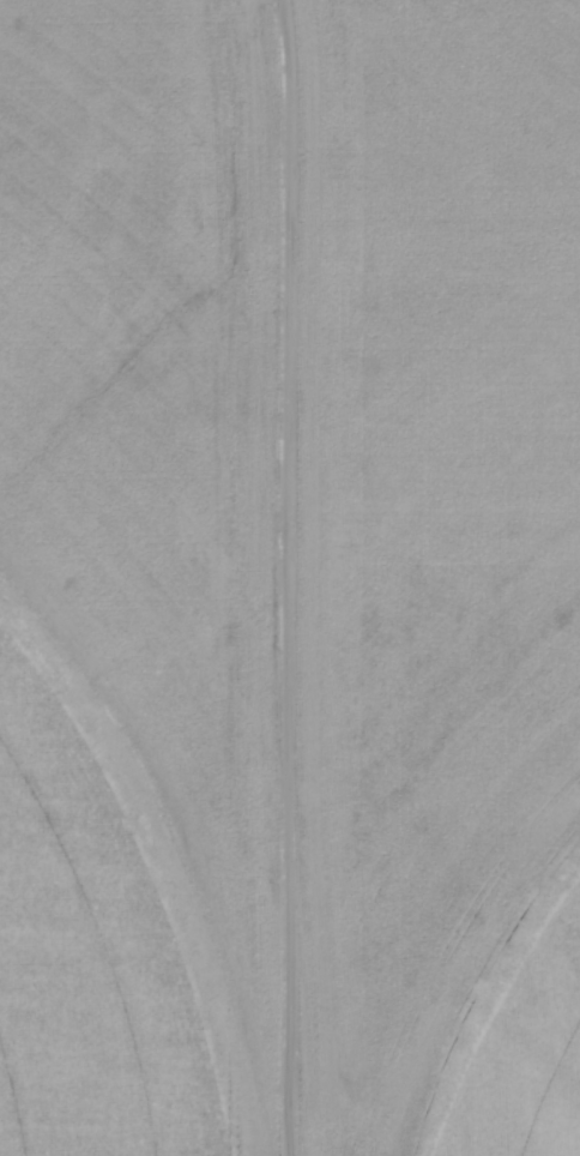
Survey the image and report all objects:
crop: (290, 578)

